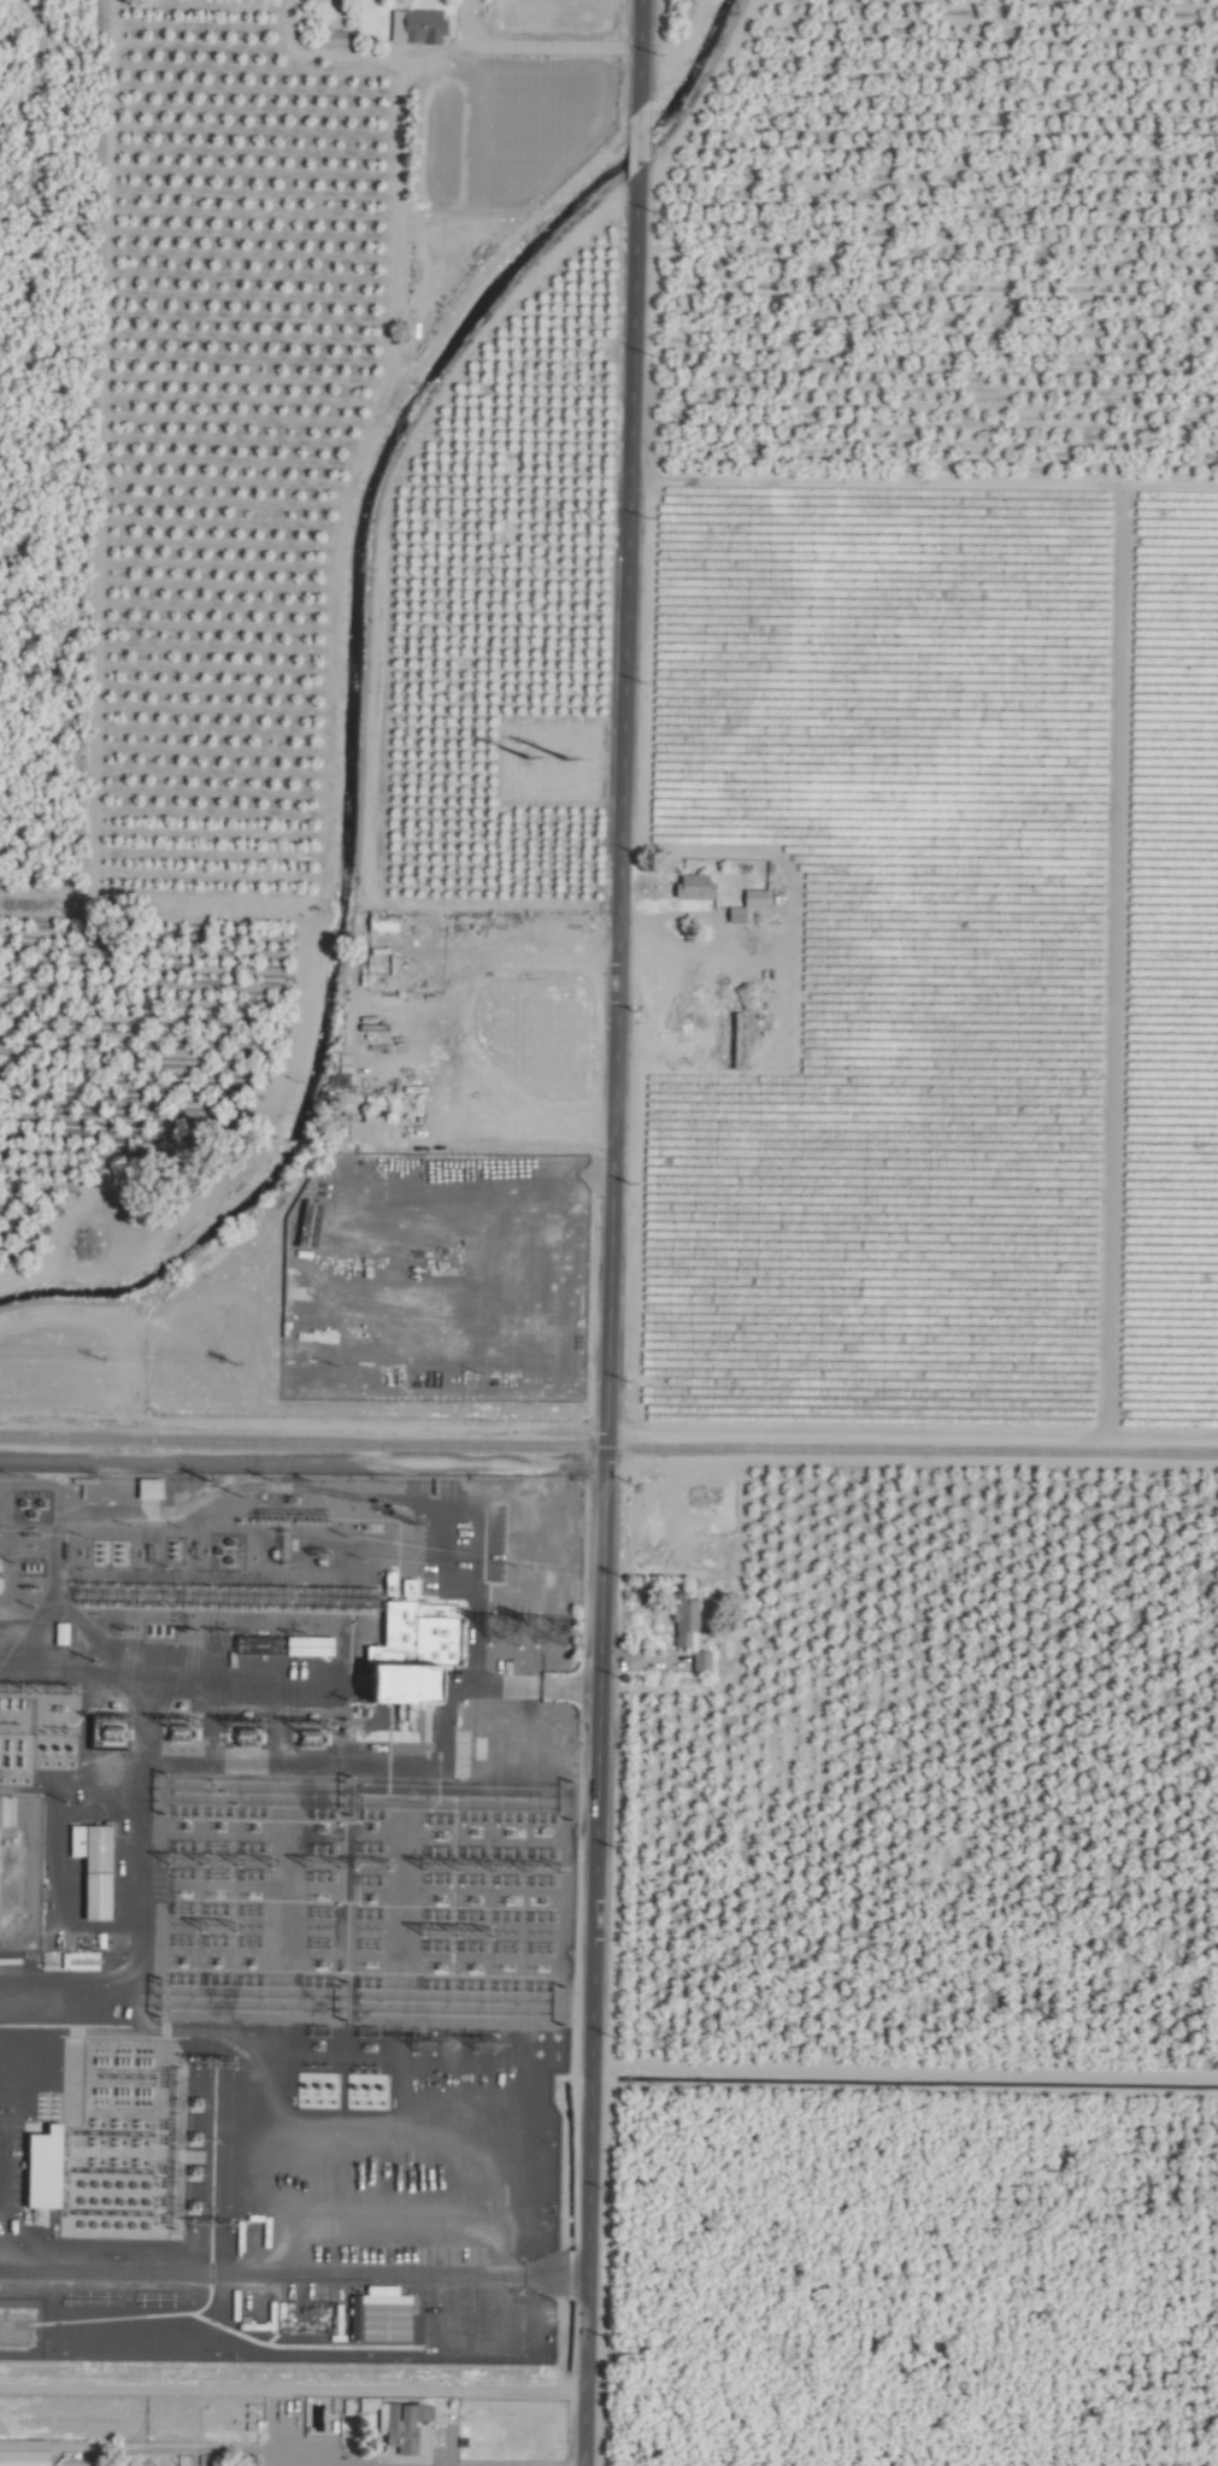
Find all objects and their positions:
road: (460, 22)
building: (418, 27)
road: (437, 48)
road: (636, 54)
road: (635, 140)
road: (623, 664)
building: (696, 887)
building: (757, 899)
building: (739, 916)
building: (384, 924)
building: (366, 1128)
road: (484, 1151)
crop: (608, 1233)
crop: (355, 1297)
road: (607, 1304)
railway: (608, 1448)
building: (687, 1619)
road: (599, 1624)
power tower: (504, 1630)
power tower: (549, 1630)
building: (61, 1633)
building: (418, 1654)
building: (702, 1663)
road: (525, 1686)
building: (98, 1867)
power substation: (282, 1914)
power tower: (422, 2044)
power tower: (483, 2047)
road: (588, 2133)
building: (49, 2168)
road: (442, 2232)
building: (384, 2315)
building: (255, 2424)
building: (405, 2425)
building: (27, 2453)

